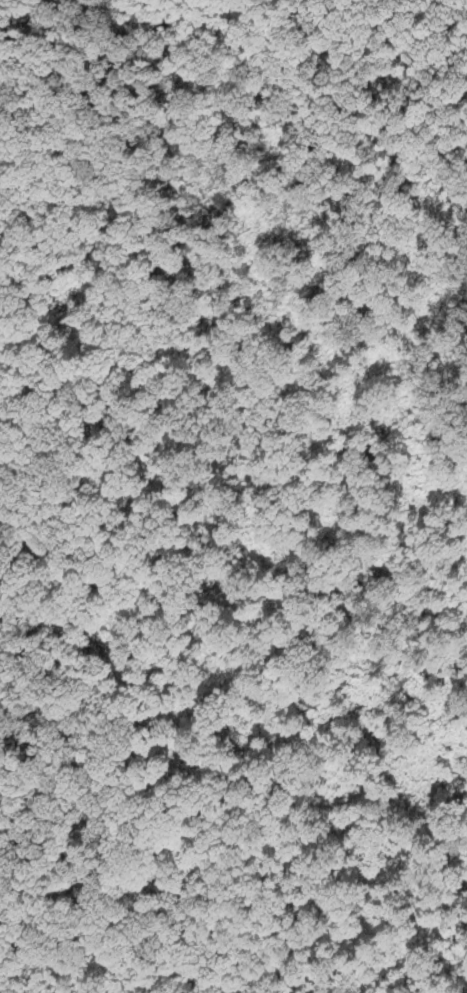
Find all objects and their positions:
road: (416, 55)

